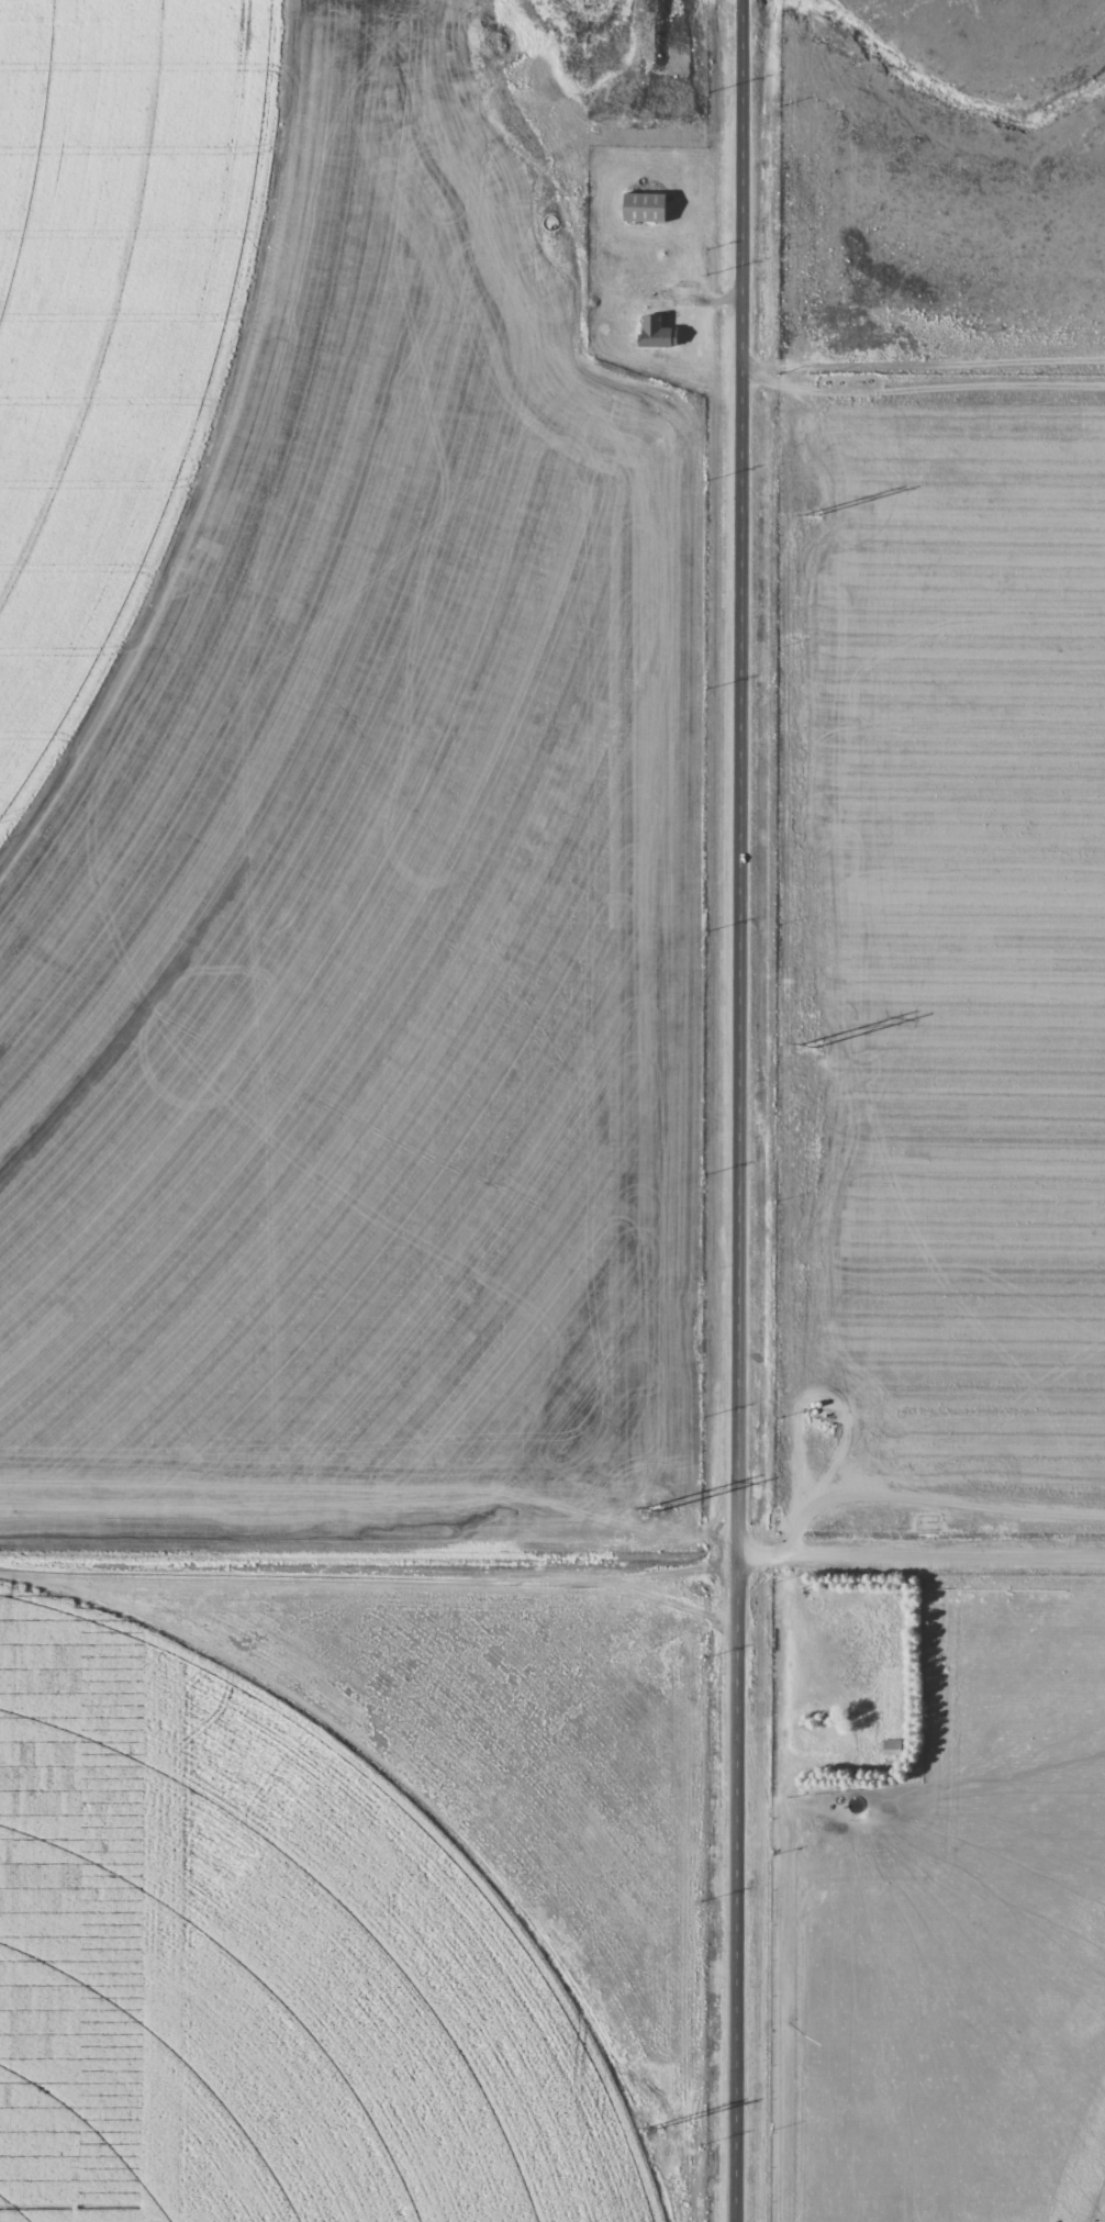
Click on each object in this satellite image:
power tower: (811, 514)
power tower: (805, 1038)
road: (741, 1110)
power tower: (650, 1507)
road: (923, 1555)
power tower: (650, 2126)

